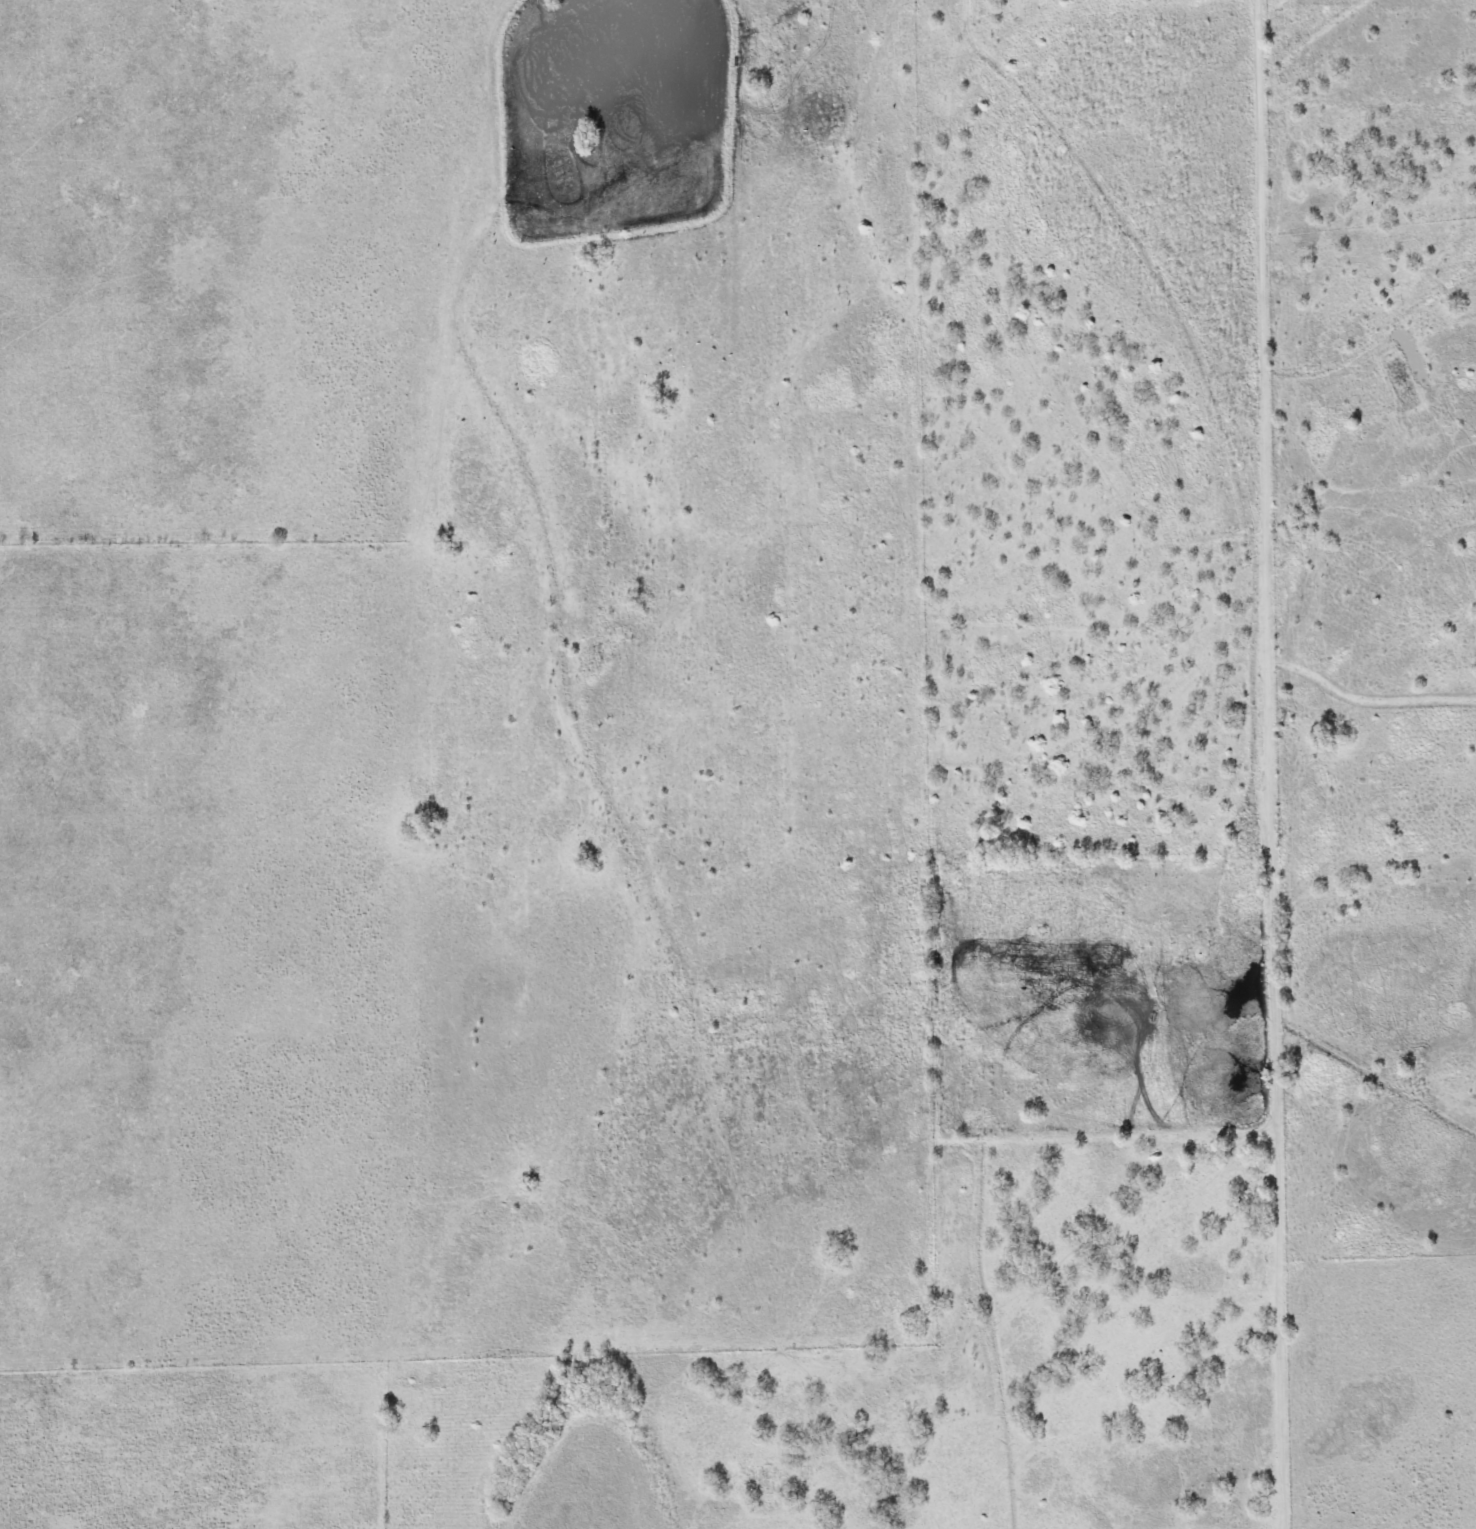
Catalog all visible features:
road: (1265, 764)

